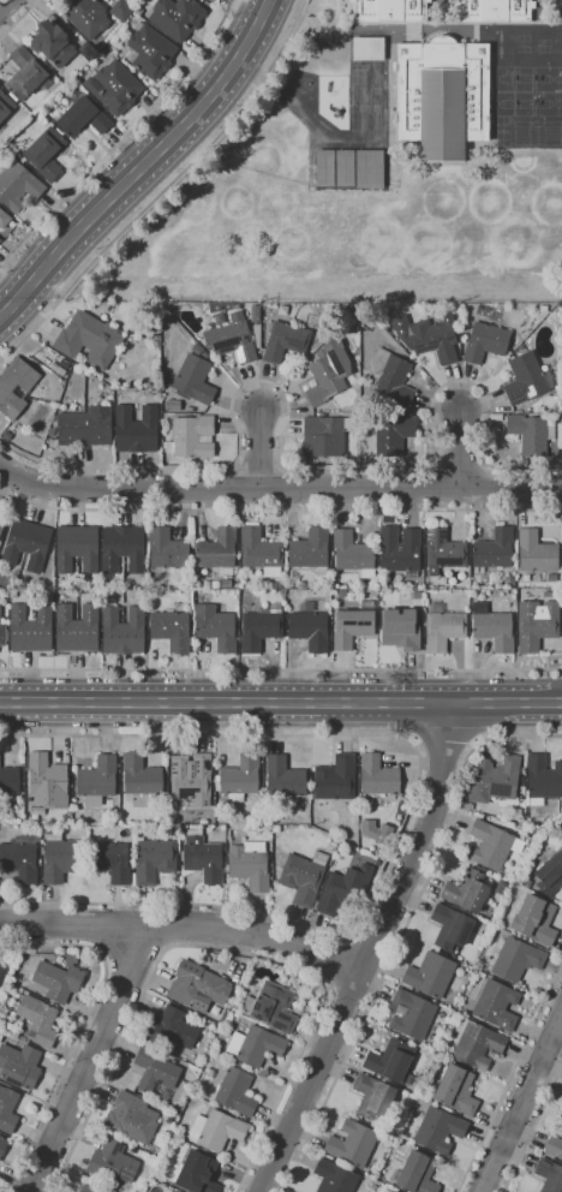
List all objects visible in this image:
building: (211, 0)
road: (4, 4)
building: (560, 4)
building: (121, 10)
building: (389, 10)
building: (494, 10)
building: (561, 11)
building: (85, 16)
building: (177, 17)
road: (18, 18)
building: (53, 43)
building: (367, 49)
building: (88, 50)
building: (149, 50)
building: (25, 74)
park: (506, 79)
park: (524, 79)
park: (549, 79)
building: (113, 87)
building: (442, 96)
park: (506, 103)
park: (524, 103)
building: (5, 105)
park: (549, 105)
building: (82, 115)
road: (122, 138)
building: (46, 153)
road: (143, 163)
building: (324, 167)
building: (343, 167)
building: (369, 168)
building: (18, 185)
road: (165, 190)
building: (5, 220)
building: (0, 239)
building: (498, 306)
building: (255, 314)
building: (256, 334)
building: (428, 336)
building: (89, 339)
building: (232, 339)
building: (286, 340)
building: (485, 341)
building: (198, 351)
building: (58, 369)
building: (328, 371)
building: (393, 377)
building: (195, 379)
building: (526, 379)
building: (16, 387)
building: (173, 405)
building: (522, 410)
building: (84, 427)
building: (136, 429)
building: (393, 434)
building: (531, 434)
building: (6, 435)
building: (324, 436)
building: (191, 437)
road: (259, 449)
road: (460, 449)
road: (283, 455)
road: (279, 489)
road: (279, 508)
building: (0, 512)
building: (1, 525)
building: (26, 544)
building: (77, 547)
building: (122, 548)
building: (167, 549)
building: (217, 549)
building: (310, 549)
building: (400, 550)
building: (443, 550)
building: (492, 550)
building: (261, 552)
building: (352, 552)
building: (536, 553)
building: (203, 572)
building: (551, 577)
building: (509, 582)
building: (207, 584)
building: (215, 584)
building: (225, 584)
building: (341, 594)
building: (546, 594)
building: (307, 607)
building: (537, 624)
building: (352, 625)
building: (30, 627)
building: (77, 627)
building: (215, 627)
building: (261, 627)
building: (492, 627)
building: (401, 628)
building: (442, 628)
building: (171, 630)
building: (309, 630)
building: (122, 631)
building: (2, 632)
road: (281, 668)
road: (281, 702)
road: (444, 741)
building: (377, 775)
building: (191, 777)
building: (240, 777)
building: (285, 779)
building: (335, 779)
building: (495, 779)
building: (543, 779)
building: (97, 780)
building: (140, 780)
building: (521, 780)
building: (47, 781)
building: (8, 782)
road: (409, 816)
building: (30, 819)
building: (372, 830)
building: (491, 845)
building: (42, 850)
building: (202, 857)
building: (20, 858)
building: (60, 858)
building: (154, 859)
building: (110, 860)
building: (250, 865)
building: (550, 874)
building: (303, 877)
building: (527, 882)
building: (343, 888)
building: (467, 890)
building: (488, 913)
building: (536, 919)
road: (185, 924)
building: (450, 926)
road: (402, 929)
road: (132, 946)
road: (165, 947)
road: (228, 949)
road: (101, 950)
road: (372, 952)
building: (515, 956)
road: (339, 962)
building: (1, 971)
building: (430, 975)
building: (480, 975)
building: (58, 979)
building: (197, 987)
building: (496, 1005)
building: (271, 1007)
building: (411, 1014)
building: (37, 1019)
road: (83, 1026)
building: (172, 1029)
building: (1, 1036)
building: (476, 1043)
building: (255, 1045)
road: (89, 1060)
building: (391, 1060)
building: (19, 1066)
building: (156, 1073)
road: (509, 1079)
building: (234, 1090)
building: (454, 1090)
building: (372, 1096)
road: (522, 1105)
building: (7, 1110)
building: (132, 1117)
road: (532, 1128)
building: (215, 1130)
building: (438, 1130)
building: (2, 1143)
building: (352, 1143)
building: (554, 1146)
building: (112, 1161)
building: (197, 1173)
building: (415, 1173)
building: (549, 1175)
building: (334, 1176)
building: (88, 1188)
building: (385, 1190)
building: (168, 1191)
building: (393, 1191)

